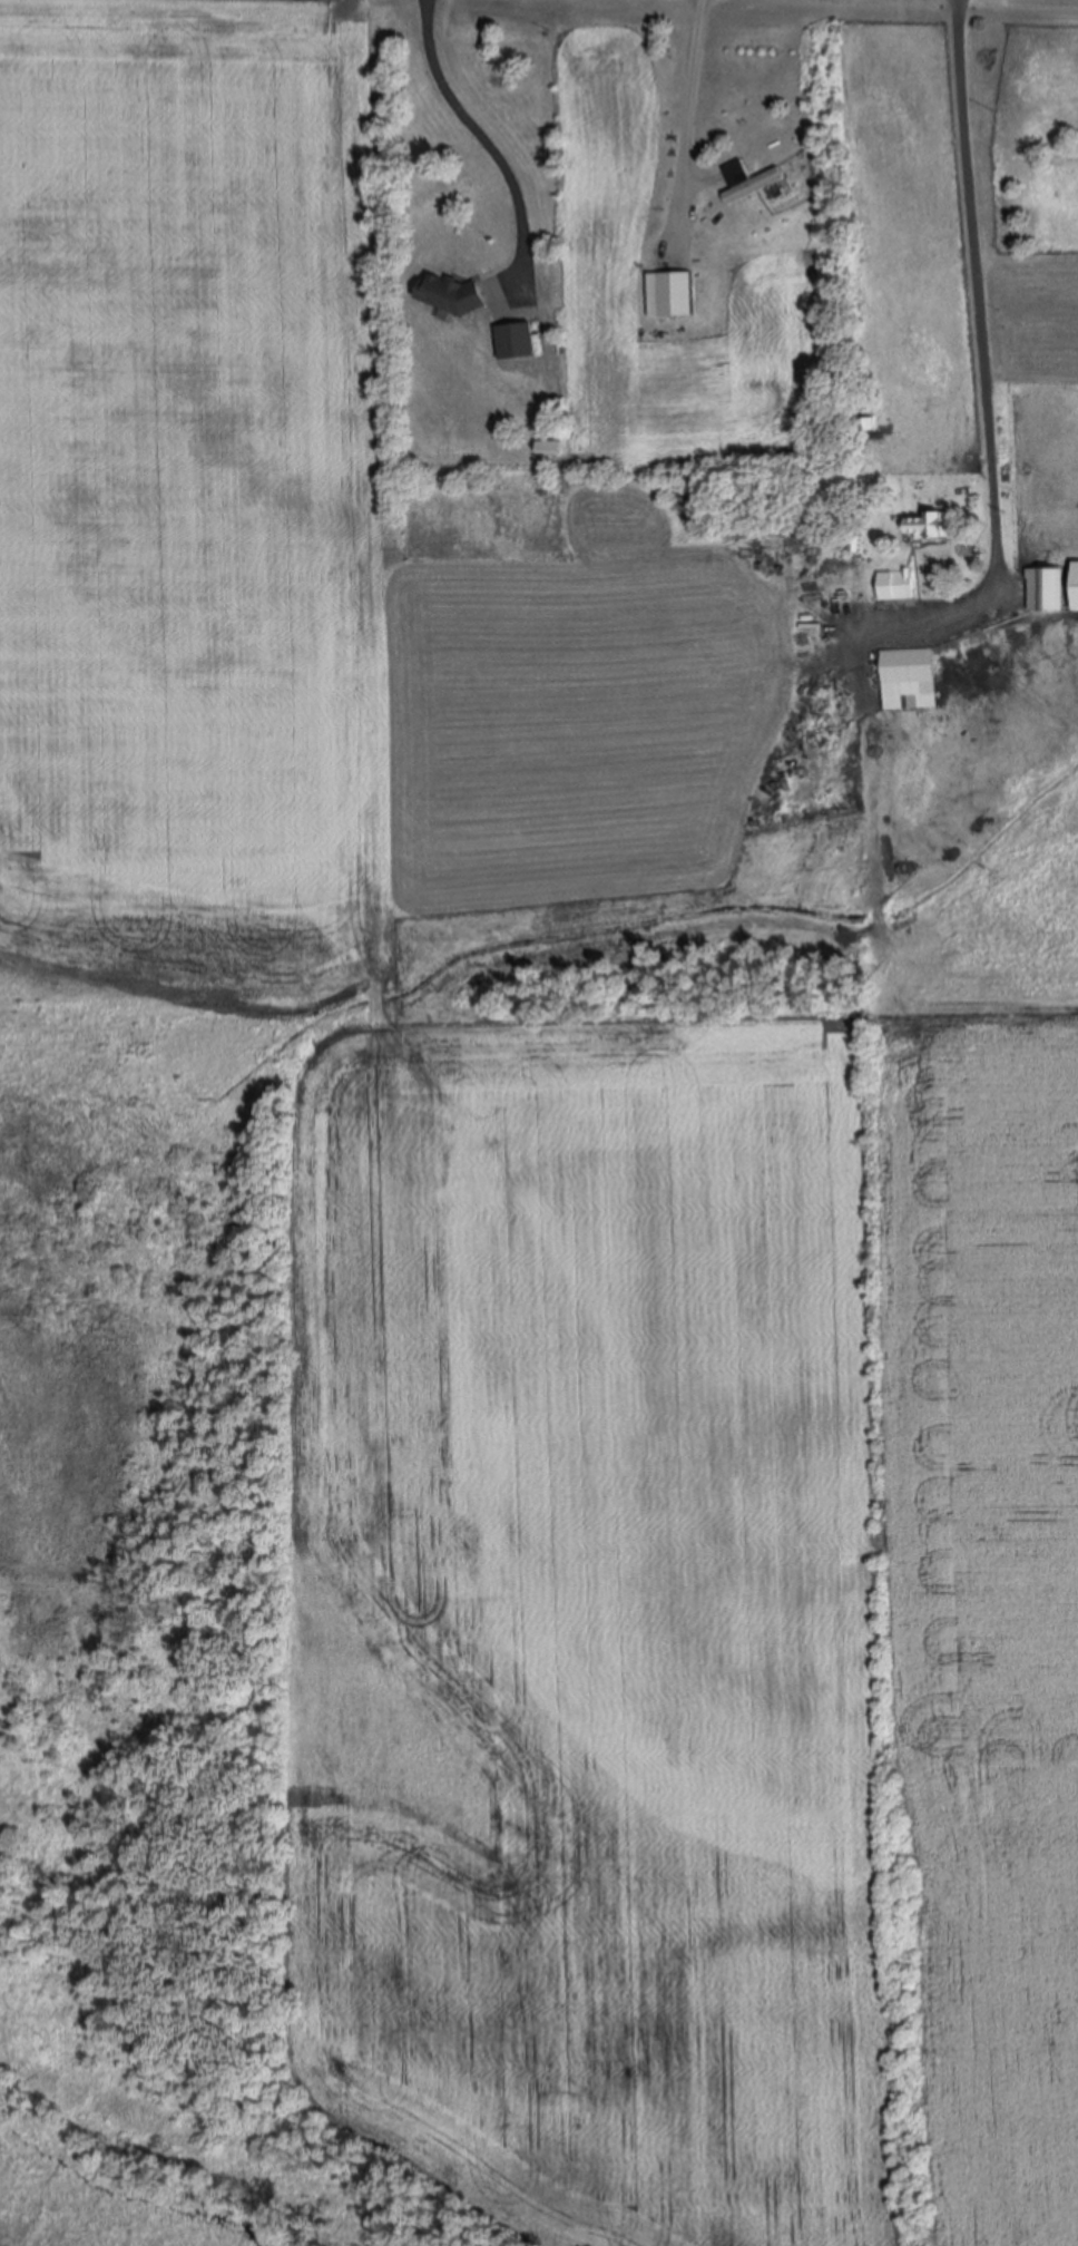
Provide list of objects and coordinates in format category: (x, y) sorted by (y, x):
road: (687, 96)
road: (480, 131)
building: (758, 183)
building: (450, 292)
building: (683, 293)
building: (516, 340)
road: (979, 348)
building: (863, 422)
building: (548, 443)
building: (929, 524)
building: (895, 584)
building: (1075, 584)
building: (1043, 588)
building: (910, 668)

